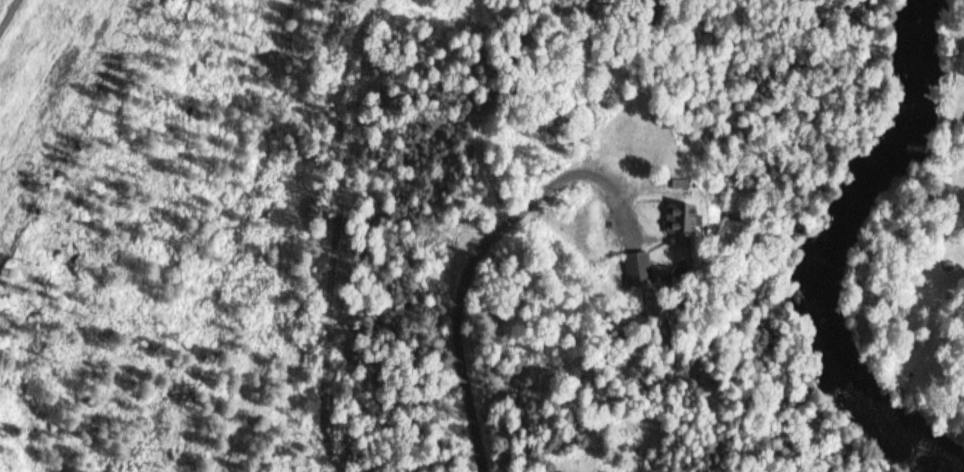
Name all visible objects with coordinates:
building: (687, 219)
river: (862, 247)
road: (450, 260)

